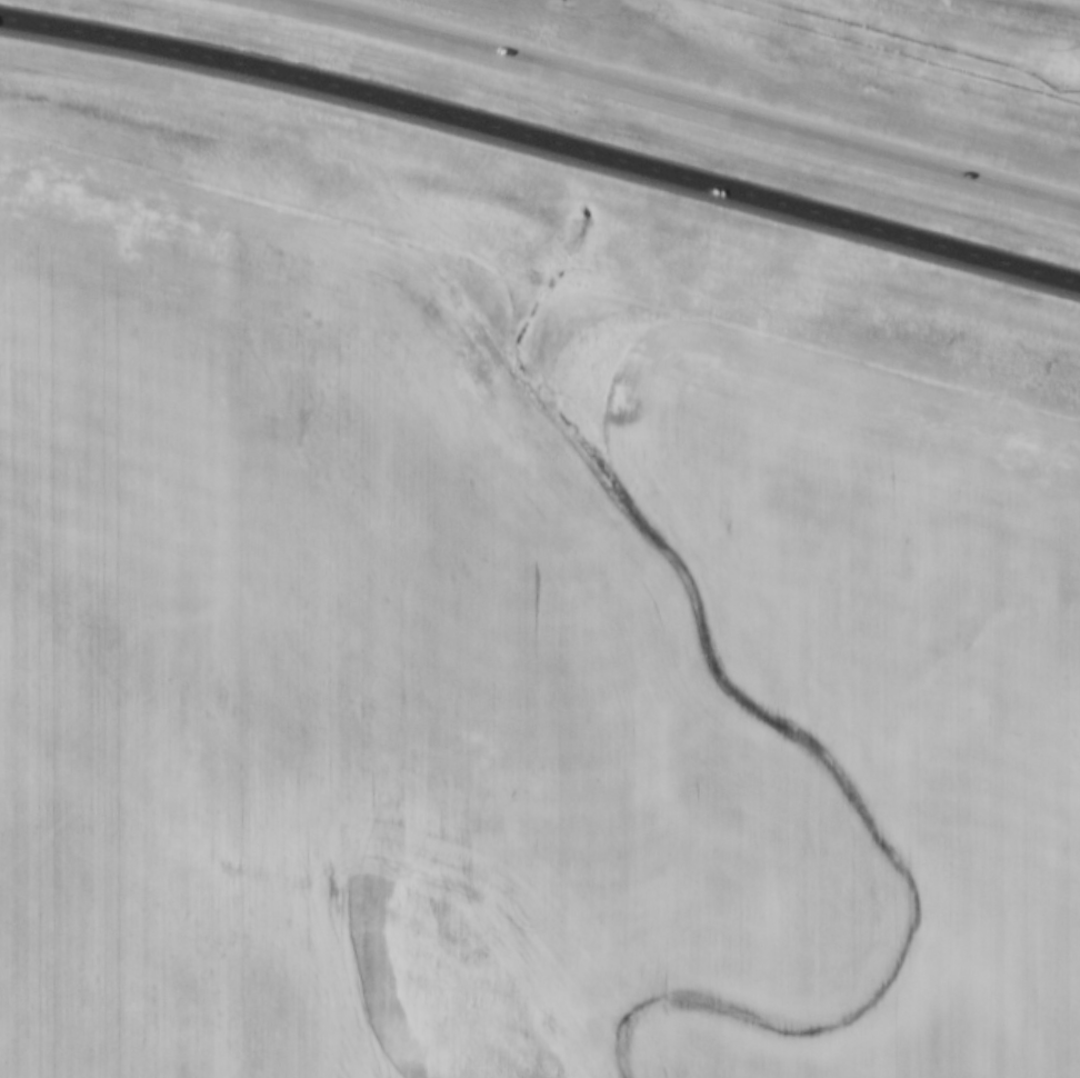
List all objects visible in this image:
road: (667, 106)
road: (541, 151)

